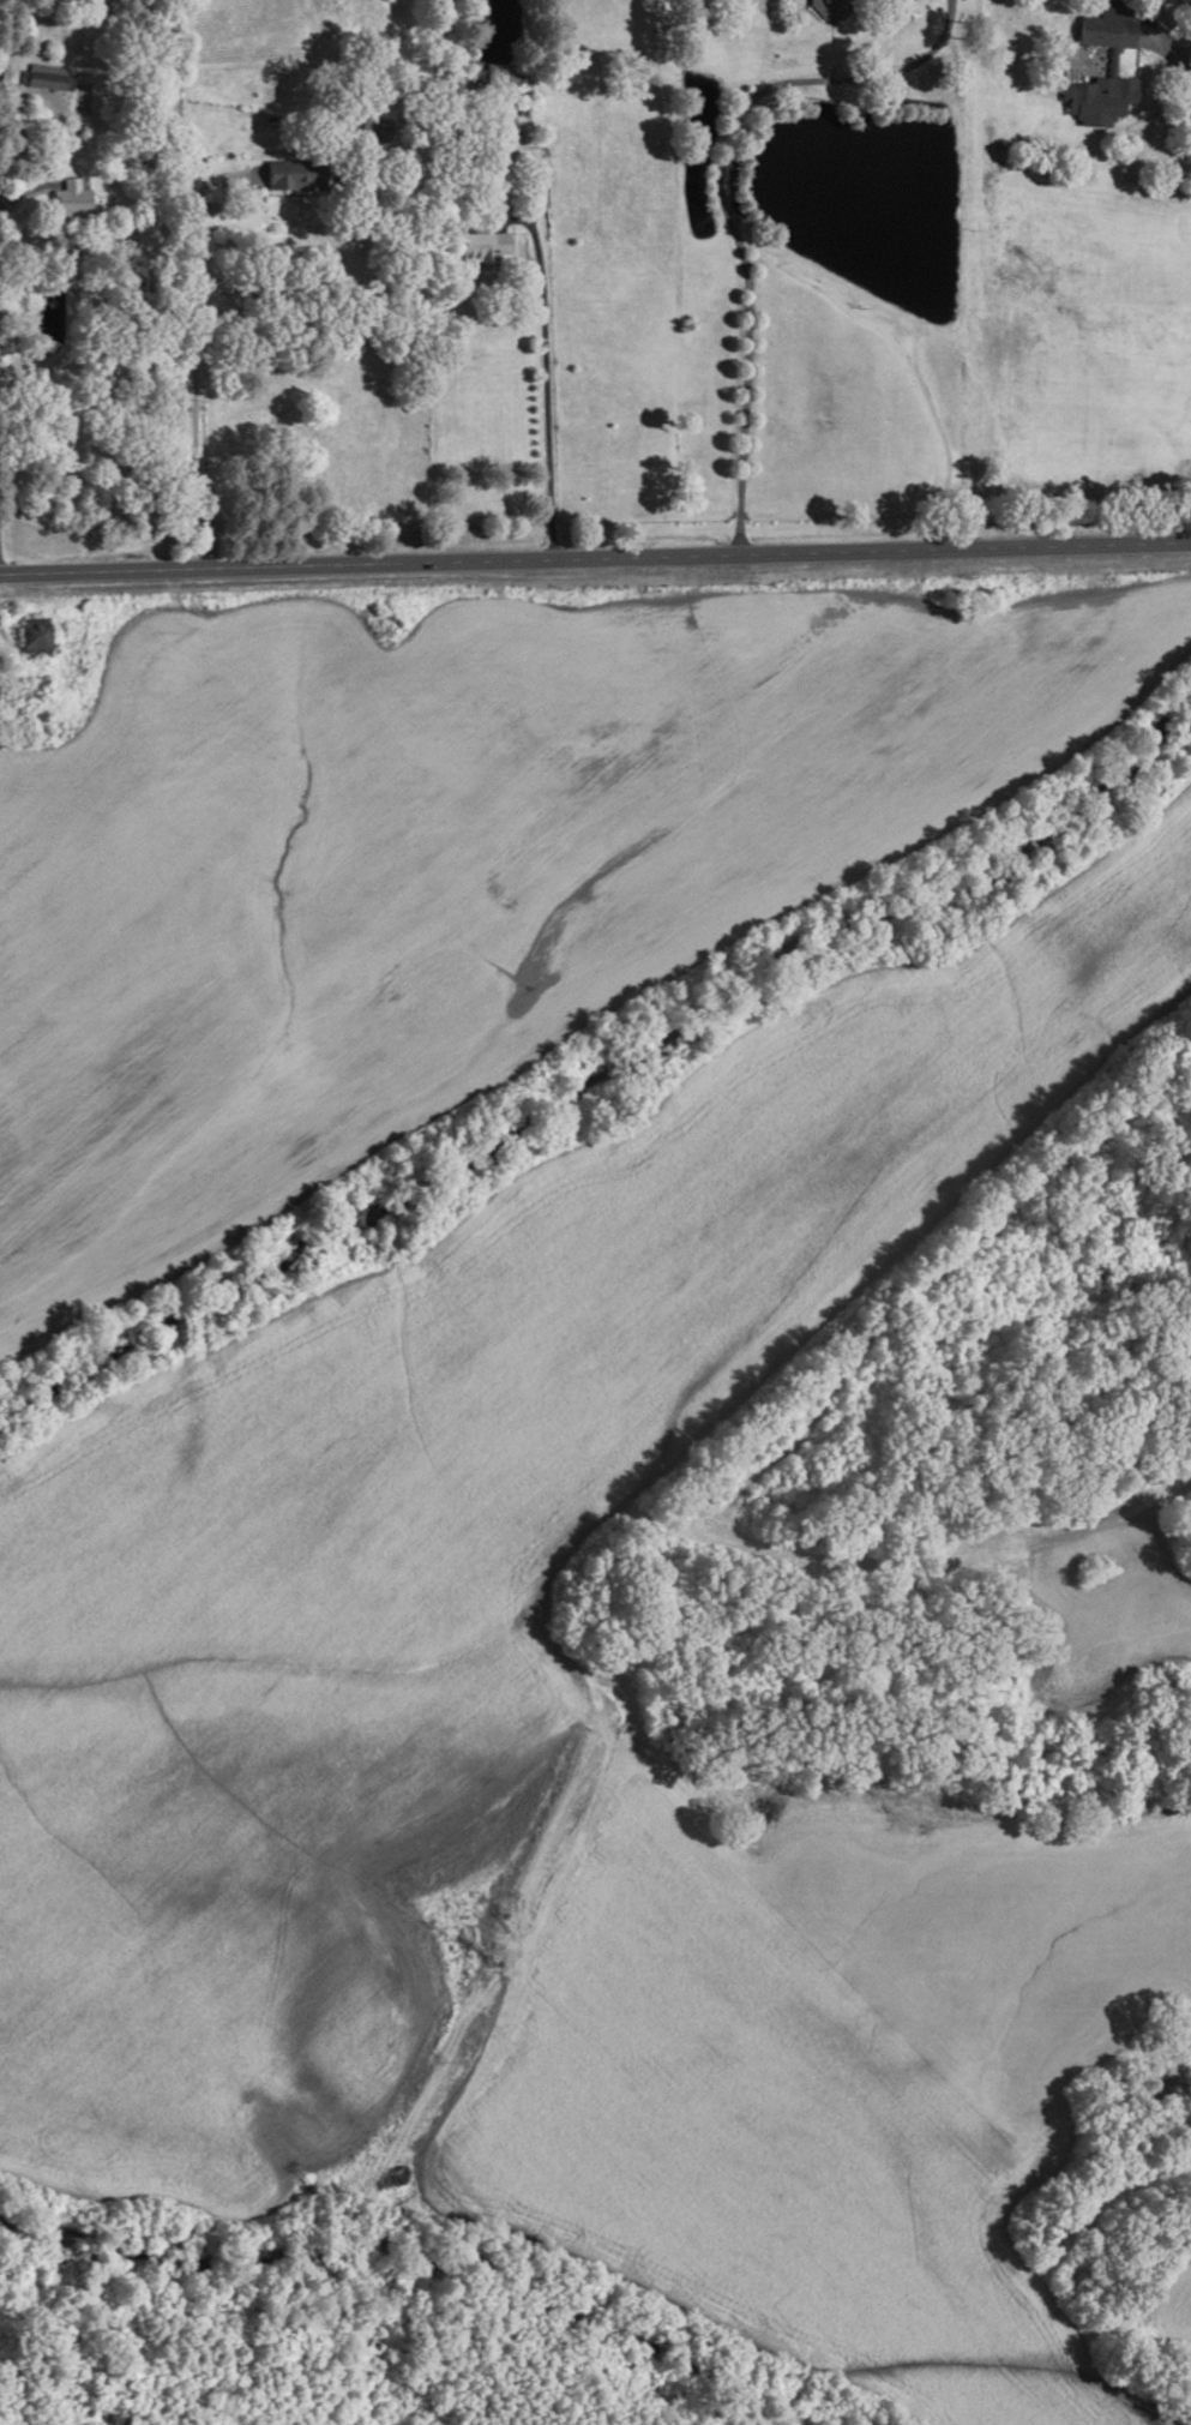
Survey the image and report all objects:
building: (831, 8)
building: (1108, 24)
road: (829, 34)
building: (36, 48)
road: (1169, 49)
road: (1189, 60)
building: (1112, 61)
building: (7, 72)
building: (46, 76)
building: (501, 78)
building: (1099, 100)
road: (12, 121)
building: (509, 125)
building: (295, 175)
road: (23, 190)
building: (71, 199)
road: (718, 199)
building: (482, 248)
road: (192, 356)
road: (542, 370)
road: (595, 558)
building: (34, 637)
road: (4, 644)

